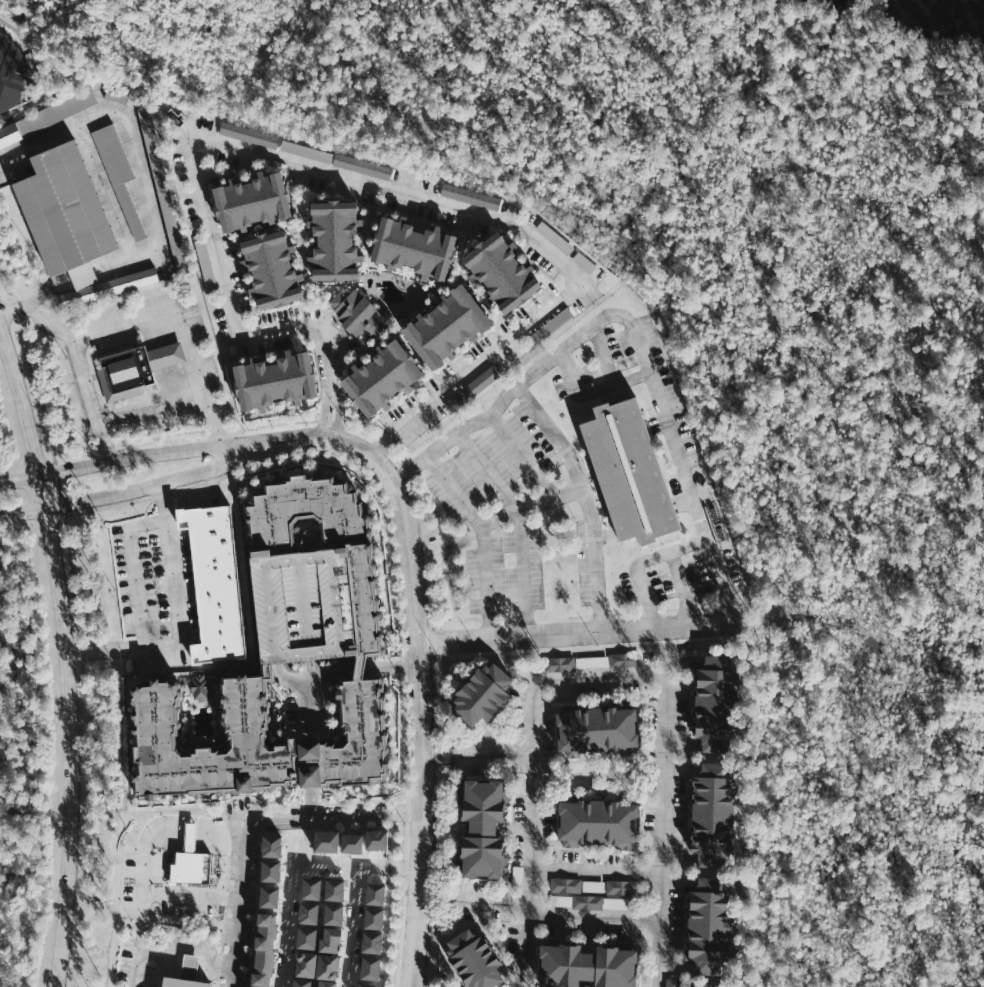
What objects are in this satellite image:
building: (12, 74)
building: (116, 96)
building: (47, 116)
building: (250, 134)
building: (308, 151)
building: (363, 166)
road: (330, 174)
building: (119, 175)
building: (163, 190)
building: (472, 196)
road: (147, 197)
building: (252, 202)
road: (399, 212)
building: (65, 225)
building: (335, 241)
building: (414, 248)
road: (240, 264)
building: (271, 269)
building: (501, 272)
road: (411, 277)
road: (339, 284)
road: (483, 298)
road: (301, 308)
building: (360, 313)
road: (183, 325)
building: (447, 326)
road: (634, 330)
road: (486, 334)
road: (399, 335)
road: (604, 355)
parking lot: (151, 363)
road: (185, 364)
road: (178, 366)
road: (170, 367)
road: (164, 368)
building: (135, 369)
road: (156, 370)
road: (83, 373)
building: (383, 377)
building: (274, 380)
building: (482, 381)
road: (68, 383)
road: (590, 392)
road: (156, 421)
road: (136, 456)
road: (525, 457)
building: (629, 471)
road: (140, 489)
parking lot: (582, 495)
road: (587, 498)
road: (531, 506)
road: (519, 523)
road: (481, 537)
road: (419, 538)
road: (642, 562)
road: (134, 568)
building: (361, 570)
road: (395, 571)
building: (214, 582)
road: (683, 588)
parking lot: (157, 589)
parking lot: (303, 605)
road: (177, 620)
road: (77, 628)
road: (575, 632)
road: (65, 657)
building: (626, 660)
building: (593, 662)
building: (560, 664)
road: (421, 666)
road: (602, 676)
building: (200, 686)
road: (313, 690)
building: (482, 693)
building: (716, 703)
building: (597, 728)
building: (255, 741)
road: (478, 755)
road: (227, 805)
building: (713, 814)
road: (250, 819)
building: (599, 821)
road: (335, 828)
building: (483, 830)
road: (189, 831)
building: (190, 835)
building: (374, 838)
building: (336, 840)
building: (269, 845)
building: (188, 865)
road: (357, 865)
building: (267, 869)
road: (597, 871)
building: (567, 885)
building: (595, 886)
building: (308, 887)
building: (620, 887)
parking lot: (159, 889)
building: (373, 893)
road: (169, 895)
building: (266, 895)
building: (562, 899)
road: (492, 901)
building: (601, 903)
building: (306, 911)
road: (140, 912)
road: (287, 914)
building: (371, 917)
road: (595, 917)
road: (352, 926)
building: (710, 926)
building: (327, 934)
building: (304, 936)
building: (369, 941)
building: (262, 947)
parking lot: (152, 953)
road: (138, 958)
building: (474, 959)
road: (187, 962)
building: (325, 962)
building: (303, 964)
building: (588, 965)
building: (189, 966)
building: (184, 982)
building: (325, 982)
building: (673, 982)
building: (704, 983)

